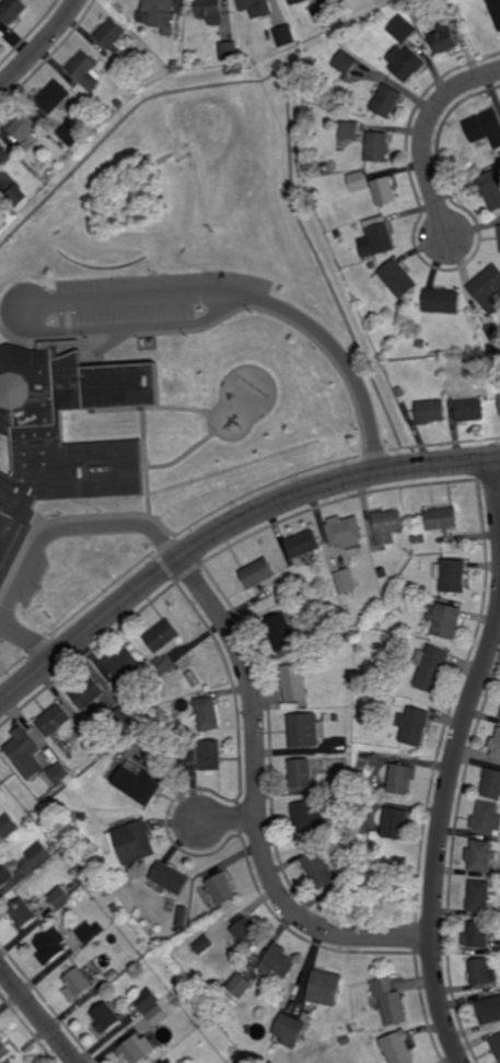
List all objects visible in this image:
building: (35, 0)
building: (296, 1)
building: (256, 8)
building: (12, 11)
building: (210, 11)
building: (495, 11)
building: (322, 13)
building: (161, 14)
building: (452, 17)
building: (402, 30)
building: (111, 35)
building: (461, 35)
building: (286, 36)
building: (443, 37)
road: (40, 46)
building: (229, 50)
building: (345, 62)
building: (406, 62)
building: (175, 65)
building: (84, 71)
building: (54, 96)
road: (288, 97)
building: (385, 101)
building: (118, 104)
building: (482, 126)
building: (26, 129)
building: (349, 130)
building: (49, 133)
road: (423, 133)
building: (69, 136)
building: (376, 147)
building: (4, 155)
building: (325, 168)
building: (358, 183)
building: (491, 189)
building: (384, 191)
building: (16, 196)
building: (329, 224)
building: (499, 231)
building: (339, 234)
building: (376, 238)
building: (373, 265)
building: (396, 279)
building: (488, 290)
building: (442, 302)
road: (35, 319)
road: (16, 320)
building: (492, 332)
building: (420, 343)
road: (346, 362)
building: (118, 384)
building: (450, 386)
building: (470, 409)
building: (430, 411)
building: (106, 444)
road: (430, 444)
road: (395, 448)
road: (375, 453)
road: (264, 486)
road: (497, 487)
building: (442, 517)
building: (387, 525)
road: (70, 528)
road: (225, 528)
building: (345, 531)
building: (19, 534)
building: (420, 539)
building: (304, 542)
road: (165, 544)
building: (338, 563)
building: (257, 572)
building: (383, 572)
building: (452, 574)
building: (345, 581)
building: (303, 586)
building: (291, 588)
building: (430, 591)
road: (102, 593)
building: (410, 598)
building: (292, 603)
building: (444, 619)
building: (408, 630)
building: (281, 632)
building: (163, 634)
building: (345, 638)
building: (397, 638)
road: (28, 641)
road: (38, 645)
building: (326, 651)
building: (121, 663)
road: (13, 665)
building: (163, 665)
building: (431, 667)
building: (150, 673)
building: (293, 682)
building: (89, 691)
building: (391, 700)
building: (206, 713)
building: (56, 719)
building: (335, 719)
building: (124, 720)
building: (412, 725)
building: (305, 729)
building: (188, 734)
building: (496, 746)
building: (27, 752)
building: (187, 755)
building: (209, 756)
building: (59, 773)
building: (300, 773)
building: (403, 779)
building: (491, 784)
building: (138, 785)
building: (362, 793)
building: (381, 795)
road: (257, 801)
building: (341, 801)
building: (83, 817)
building: (306, 818)
building: (486, 819)
building: (44, 820)
road: (229, 821)
building: (396, 823)
building: (9, 826)
building: (361, 829)
road: (440, 836)
building: (131, 842)
building: (40, 854)
building: (479, 855)
building: (319, 869)
building: (170, 878)
building: (3, 879)
building: (220, 889)
building: (78, 890)
building: (479, 896)
building: (63, 898)
building: (115, 908)
building: (24, 914)
building: (182, 916)
building: (91, 933)
building: (247, 934)
building: (476, 935)
building: (204, 945)
building: (54, 946)
building: (279, 962)
building: (481, 972)
building: (79, 985)
building: (241, 985)
building: (326, 989)
building: (283, 991)
building: (220, 1000)
building: (148, 1001)
building: (391, 1002)
building: (487, 1009)
road: (38, 1015)
building: (159, 1017)
building: (106, 1018)
building: (290, 1031)
building: (346, 1041)
building: (496, 1046)
building: (399, 1049)
building: (4, 1050)
building: (132, 1051)

